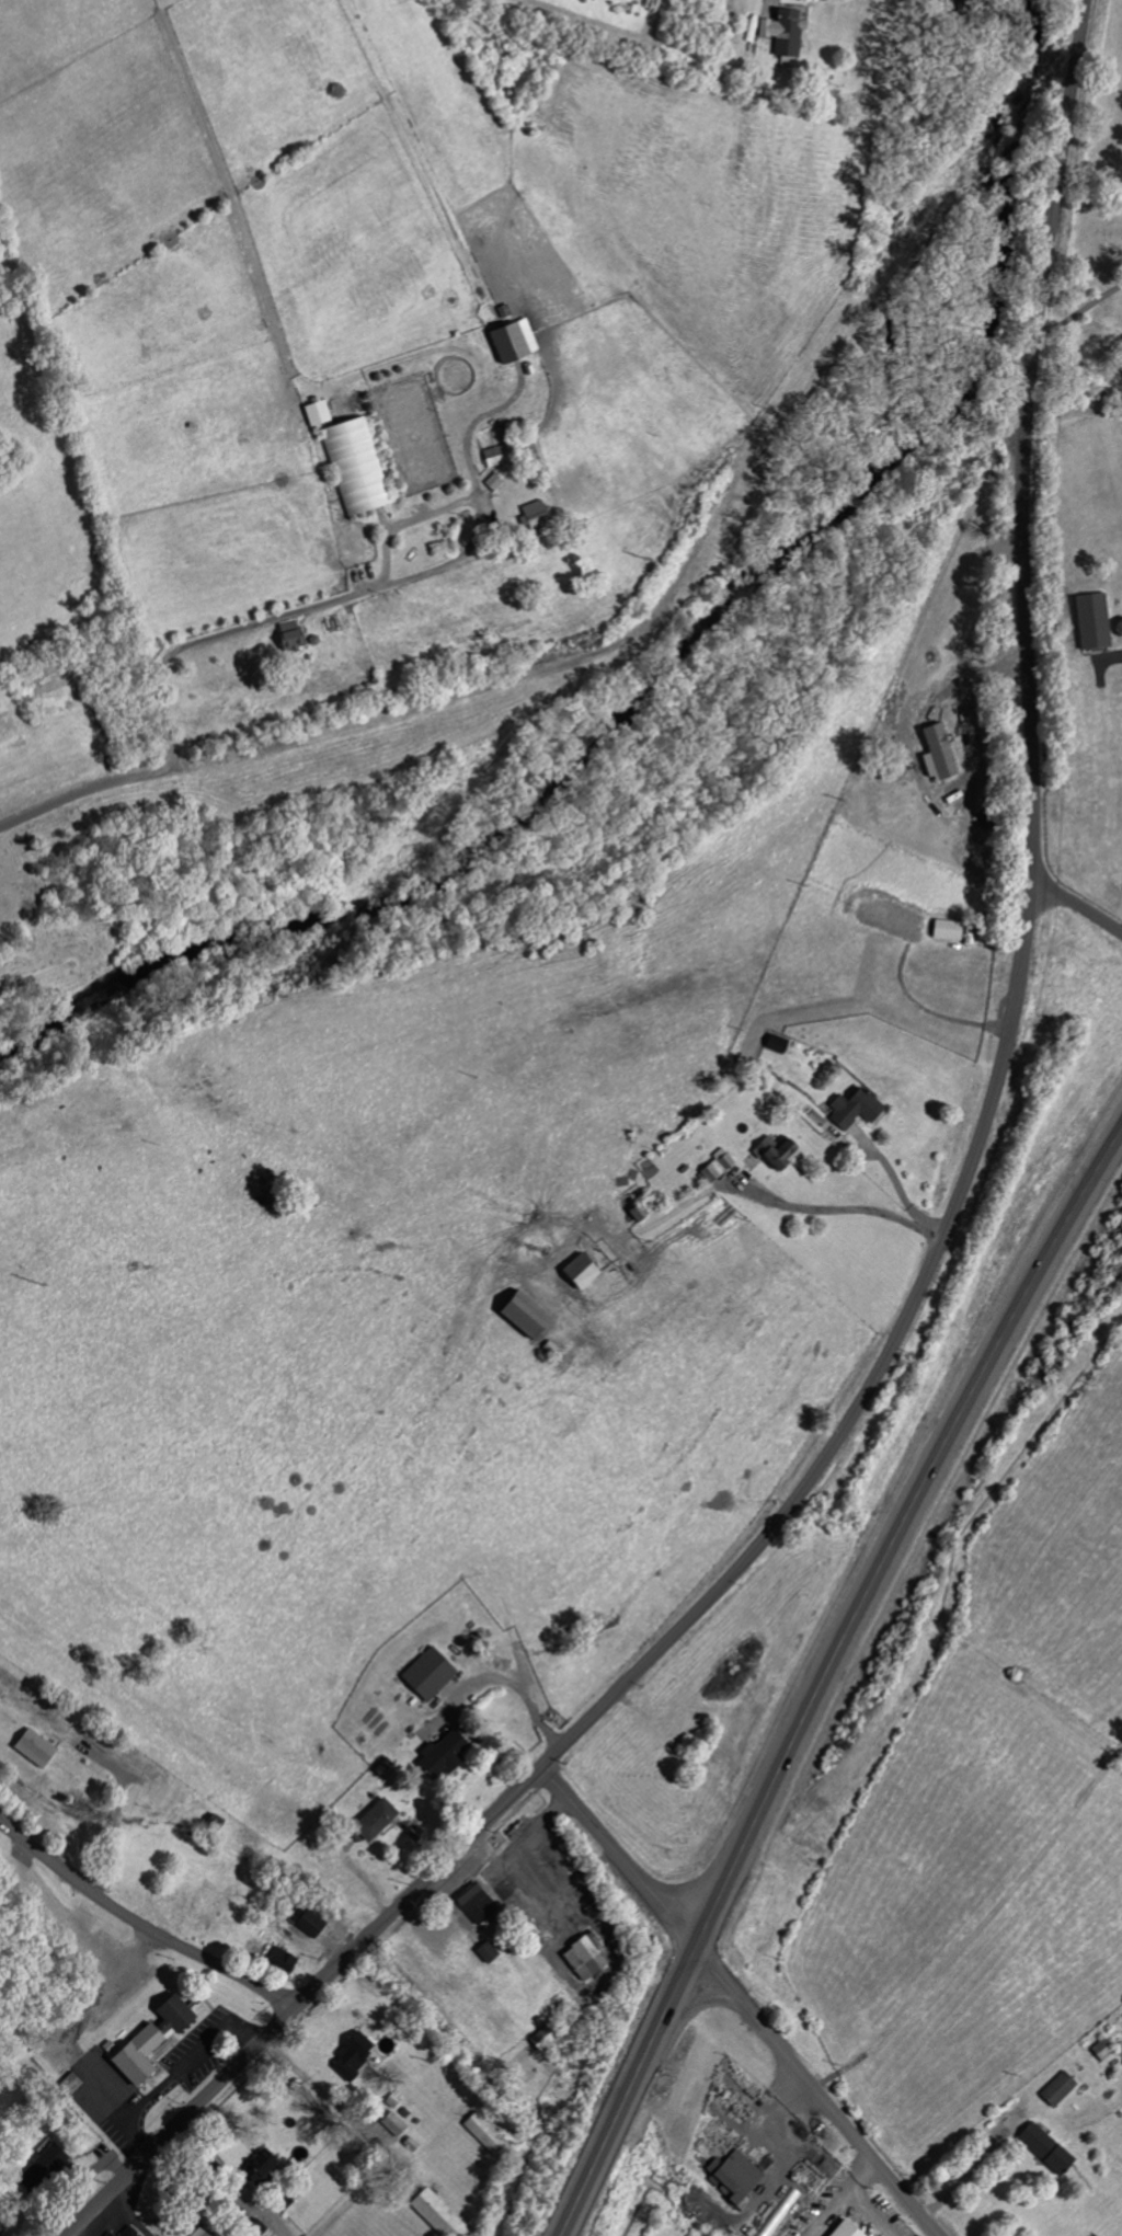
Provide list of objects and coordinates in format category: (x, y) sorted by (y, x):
building: (782, 34)
road: (1079, 307)
building: (511, 340)
building: (316, 413)
building: (494, 456)
building: (355, 466)
building: (534, 515)
road: (357, 594)
building: (1090, 621)
building: (287, 637)
road: (536, 679)
building: (938, 752)
road: (82, 793)
road: (1075, 905)
building: (946, 930)
road: (1020, 959)
road: (924, 1016)
building: (852, 1109)
building: (774, 1153)
building: (714, 1167)
road: (846, 1211)
building: (634, 1213)
building: (579, 1272)
building: (522, 1315)
building: (426, 1674)
road: (825, 1676)
building: (33, 1747)
building: (442, 1754)
road: (115, 1811)
building: (373, 1821)
road: (419, 1890)
building: (474, 1903)
building: (309, 1923)
road: (139, 1925)
building: (485, 1951)
building: (582, 1958)
building: (280, 1960)
road: (741, 2002)
road: (243, 2034)
building: (148, 2039)
road: (201, 2050)
building: (1101, 2050)
building: (351, 2055)
building: (69, 2084)
building: (1056, 2089)
road: (135, 2110)
road: (180, 2118)
building: (391, 2126)
building: (483, 2133)
building: (1043, 2148)
building: (43, 2165)
building: (257, 2167)
road: (971, 2168)
road: (865, 2177)
road: (225, 2181)
road: (128, 2211)
road: (829, 2211)
road: (872, 2212)
building: (437, 2214)
building: (255, 2227)
building: (0, 2228)
building: (845, 2229)
building: (128, 2232)
building: (197, 2233)
building: (108, 2234)

